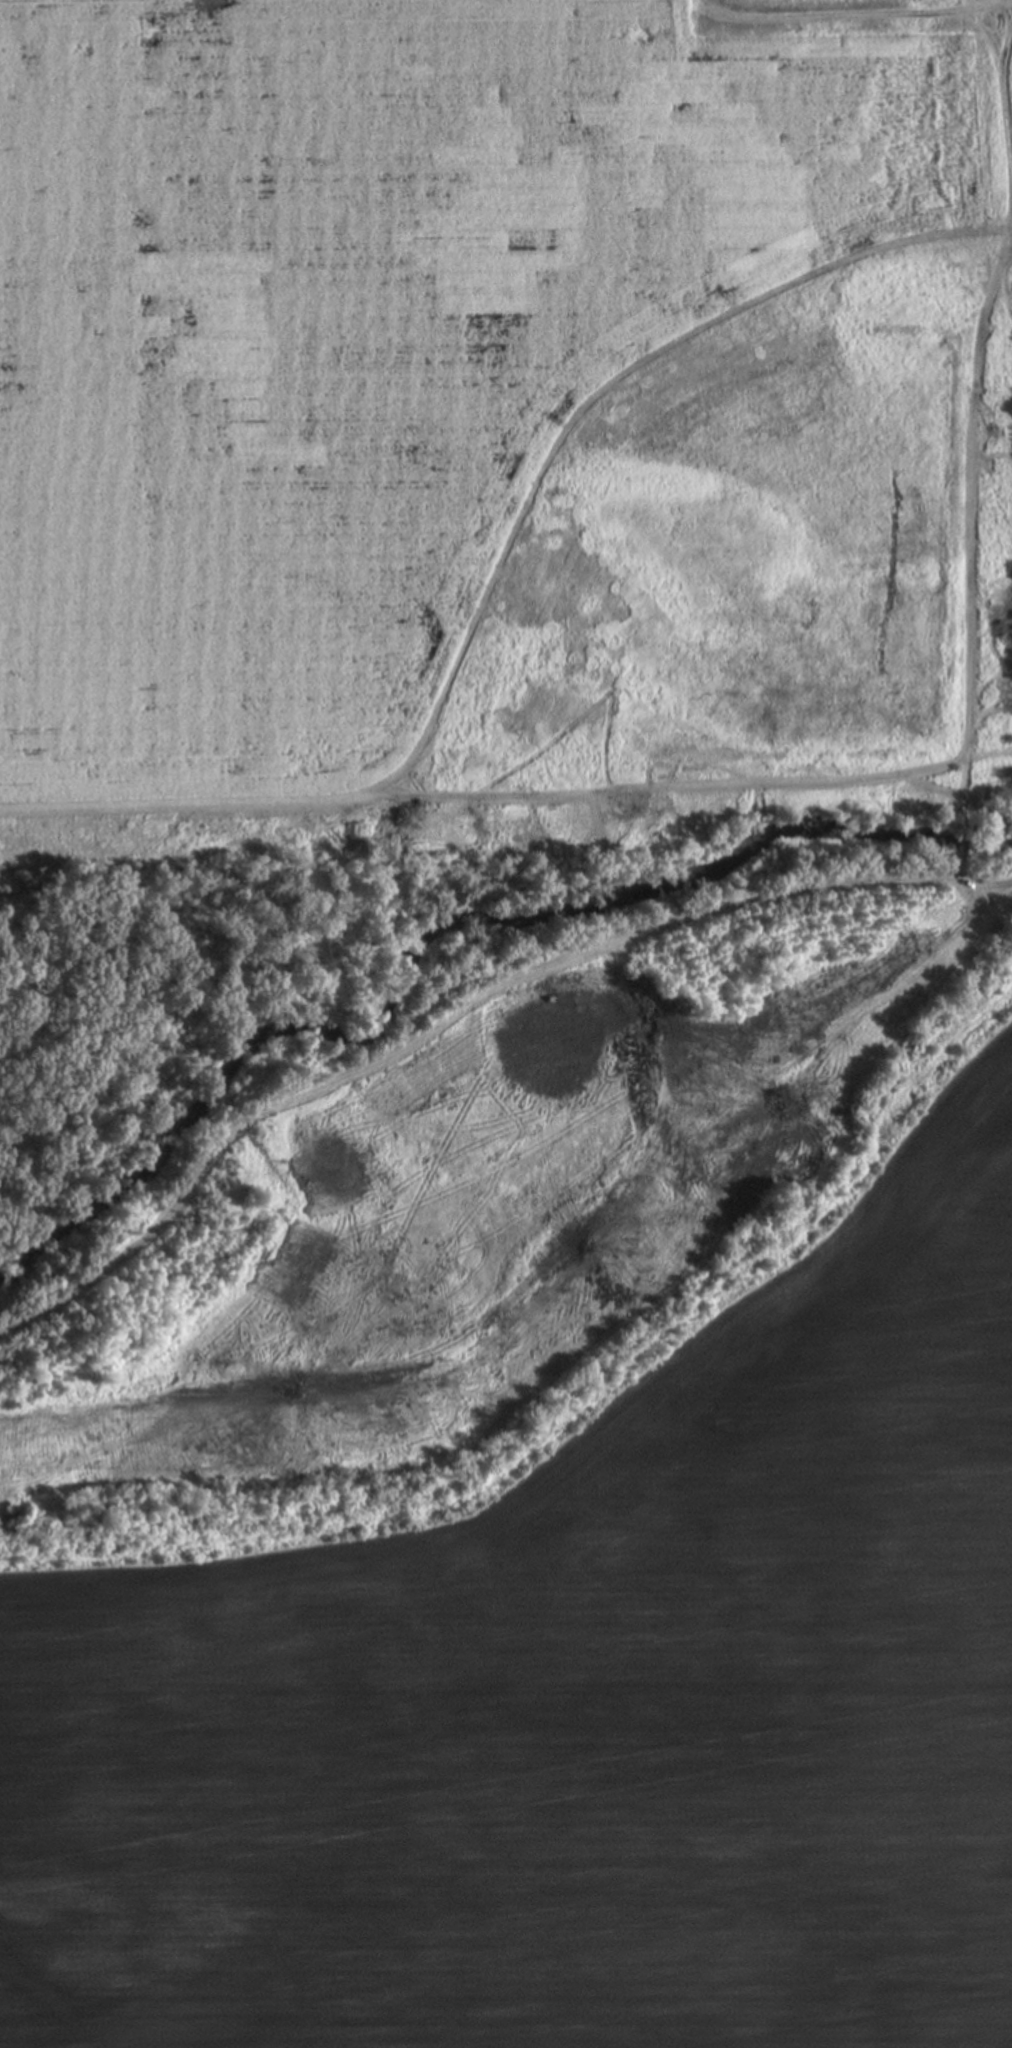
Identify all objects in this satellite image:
river: (441, 927)

